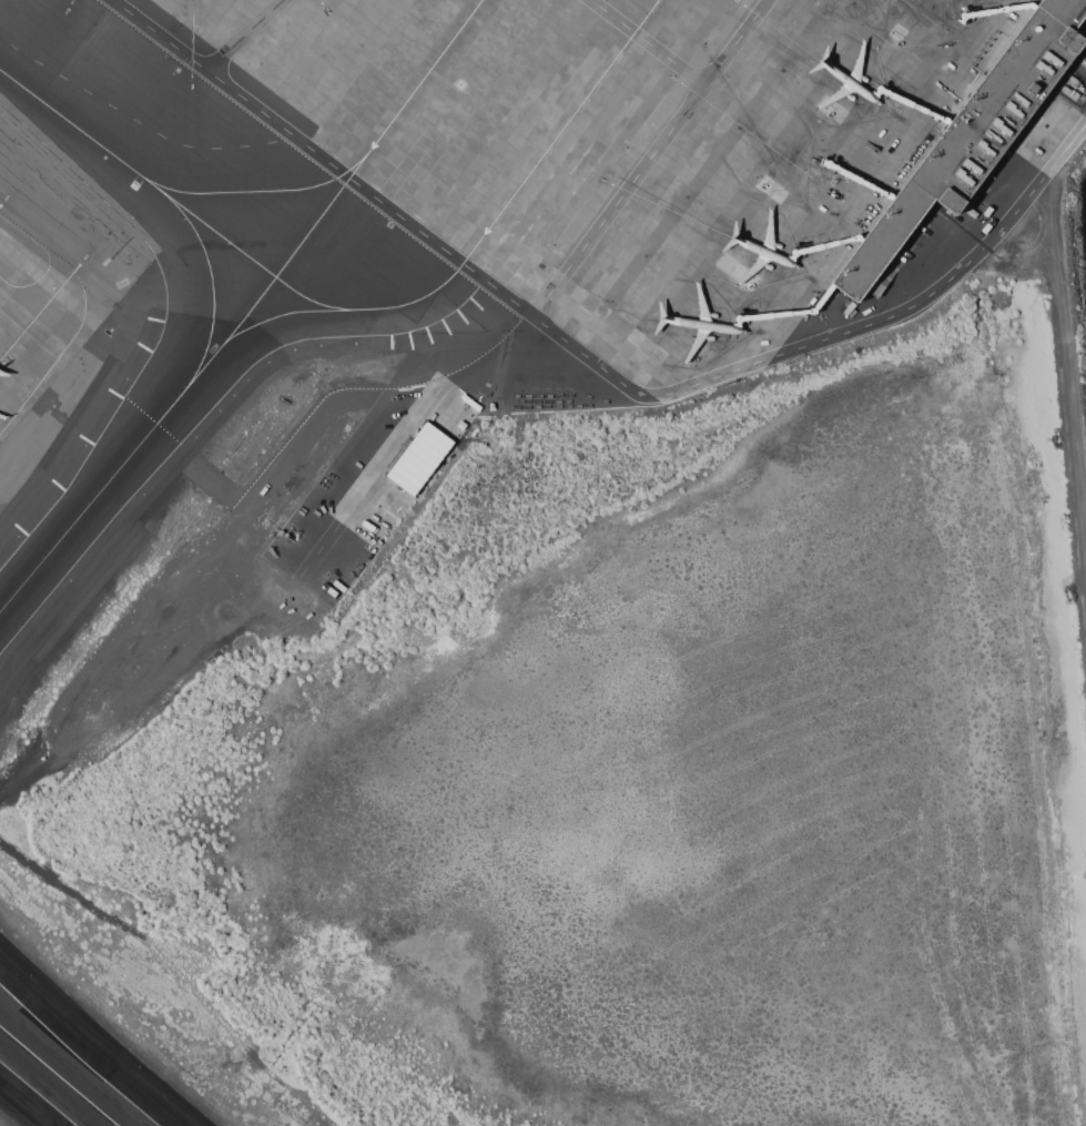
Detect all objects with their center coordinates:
road: (242, 33)
road: (647, 41)
airport terminal: (971, 136)
building: (971, 136)
airport taxiway: (377, 138)
airport apron: (630, 144)
road: (648, 158)
airport taxiway: (138, 172)
road: (1035, 177)
road: (1037, 186)
airport taxiway: (256, 191)
airport taxiway: (483, 236)
road: (11, 240)
road: (430, 240)
airport taxiway: (212, 286)
airport taxiway: (308, 298)
road: (889, 315)
airport apron: (39, 317)
airport taxiway: (139, 444)
airport: (542, 562)
airport taxiway: (59, 1076)

